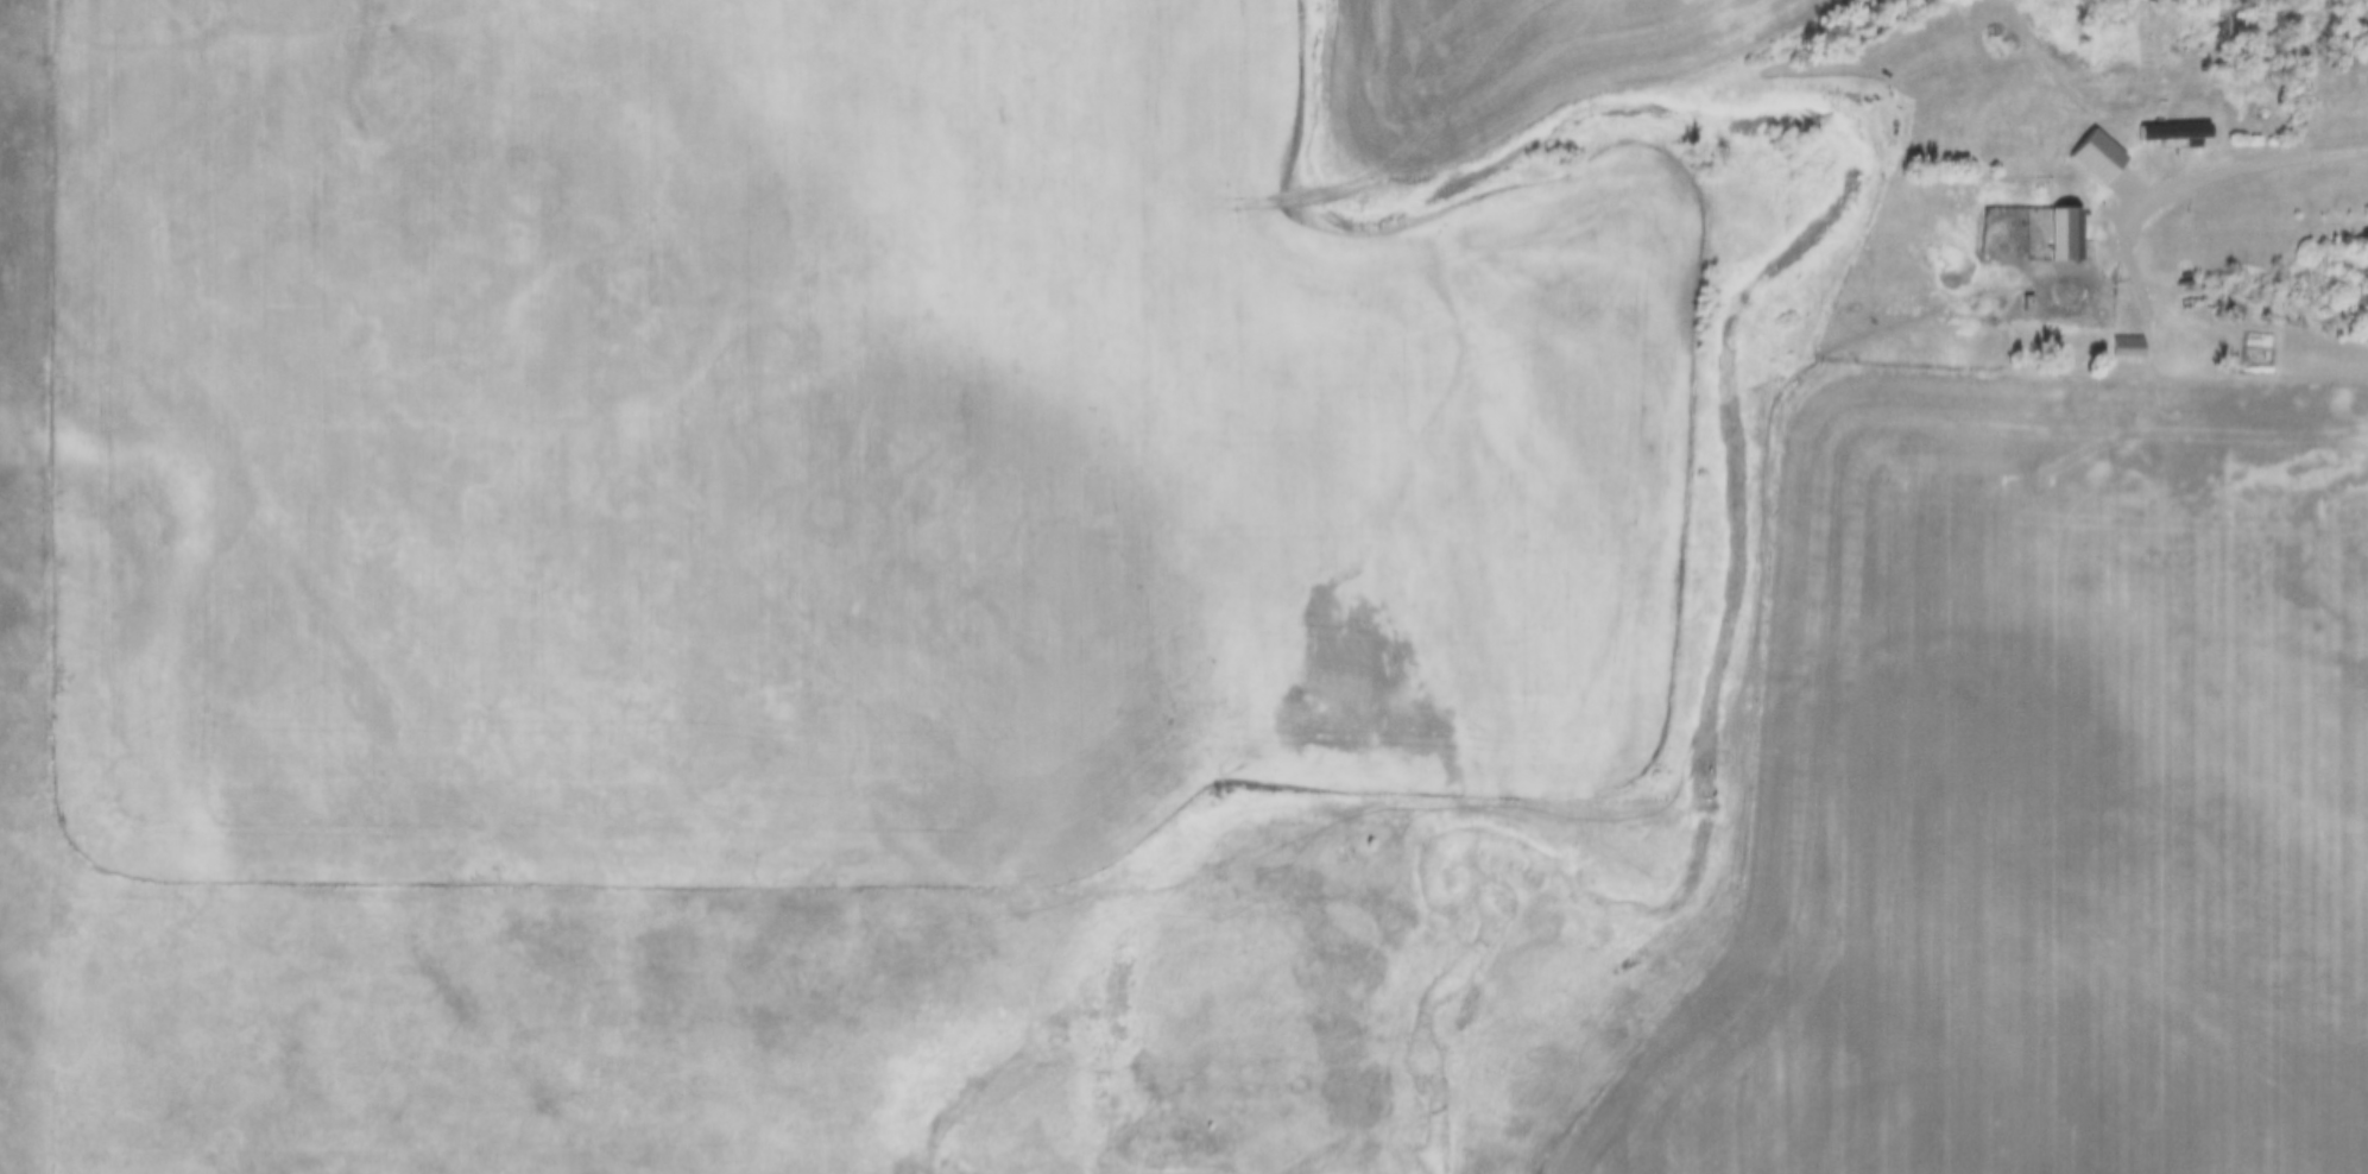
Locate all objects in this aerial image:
building: (2176, 134)
building: (2095, 158)
road: (2243, 162)
building: (2065, 238)
building: (2128, 349)

